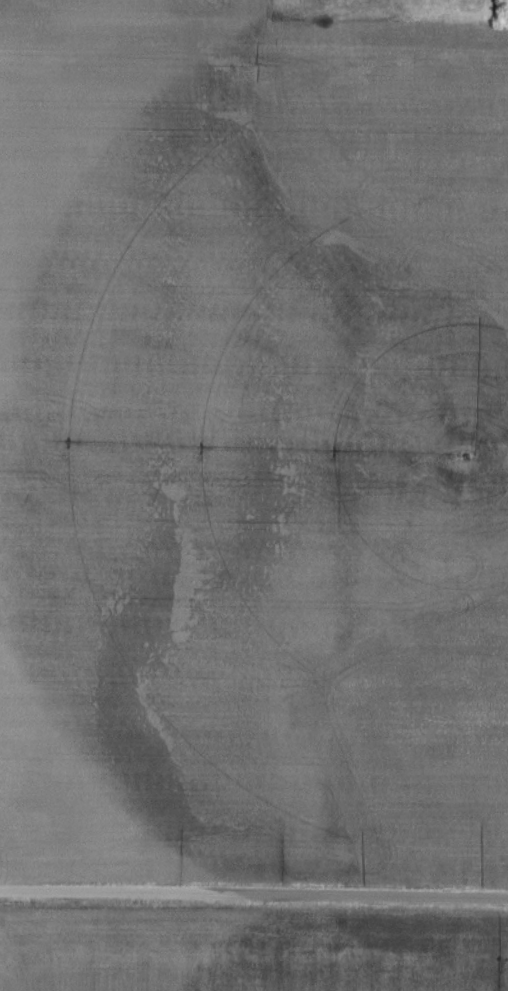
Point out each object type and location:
road: (254, 893)

